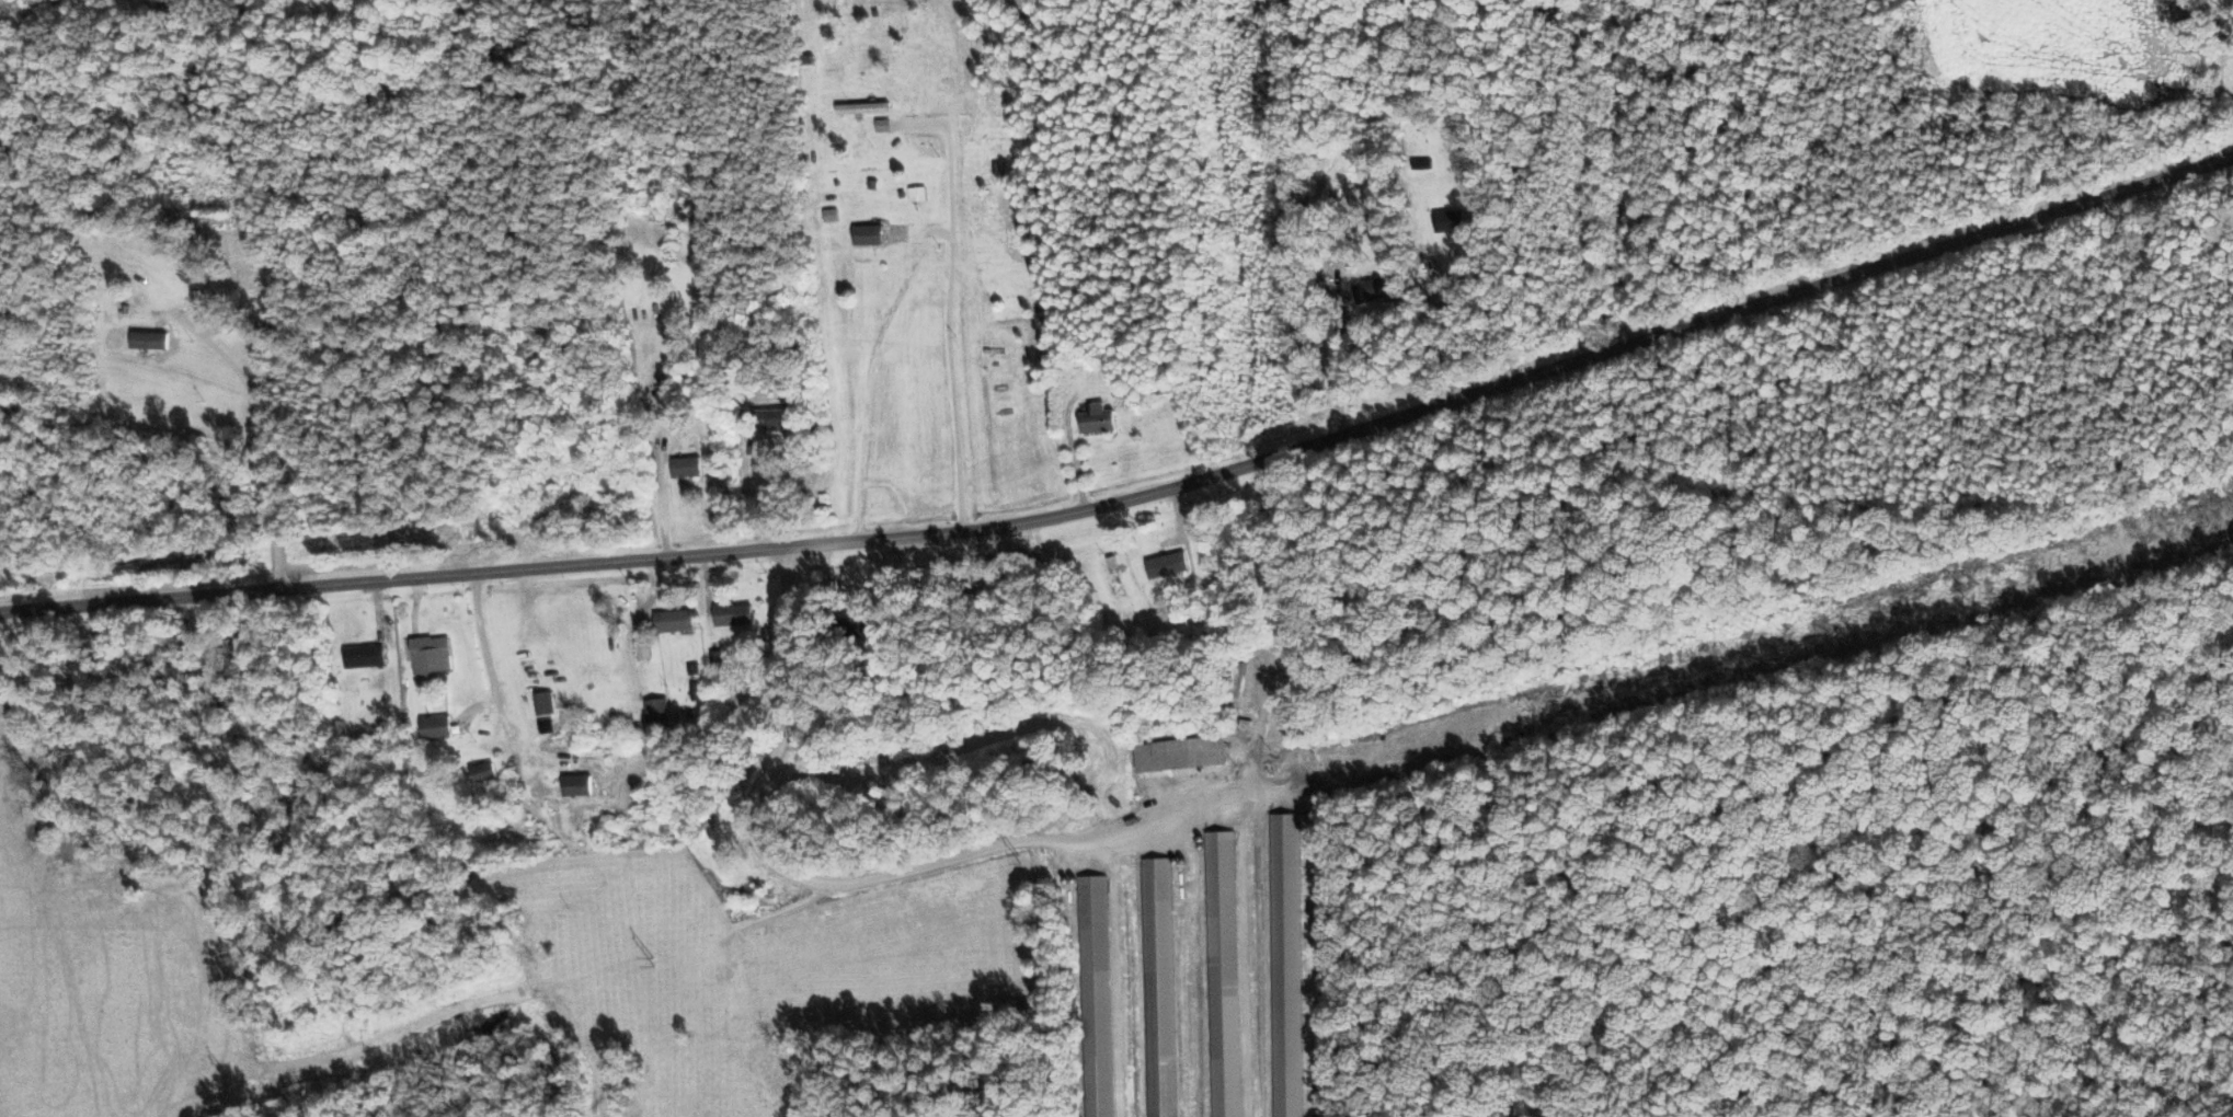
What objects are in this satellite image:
building: (860, 107)
road: (1621, 172)
building: (916, 194)
building: (829, 215)
building: (1448, 220)
building: (867, 234)
building: (1373, 289)
building: (148, 339)
road: (947, 388)
building: (1096, 418)
building: (775, 421)
road: (265, 463)
building: (685, 467)
road: (1138, 499)
building: (1166, 564)
power tower: (1961, 594)
building: (732, 614)
building: (672, 620)
building: (856, 627)
building: (643, 649)
building: (430, 654)
road: (485, 655)
building: (363, 656)
building: (717, 659)
building: (695, 692)
building: (543, 703)
building: (656, 710)
power tower: (1532, 714)
building: (546, 725)
building: (434, 727)
building: (1179, 753)
building: (482, 773)
building: (575, 785)
power tower: (1017, 856)
road: (952, 859)
power tower: (650, 959)
building: (1284, 966)
building: (1221, 974)
building: (1157, 987)
building: (1093, 997)
power tower: (226, 1080)

